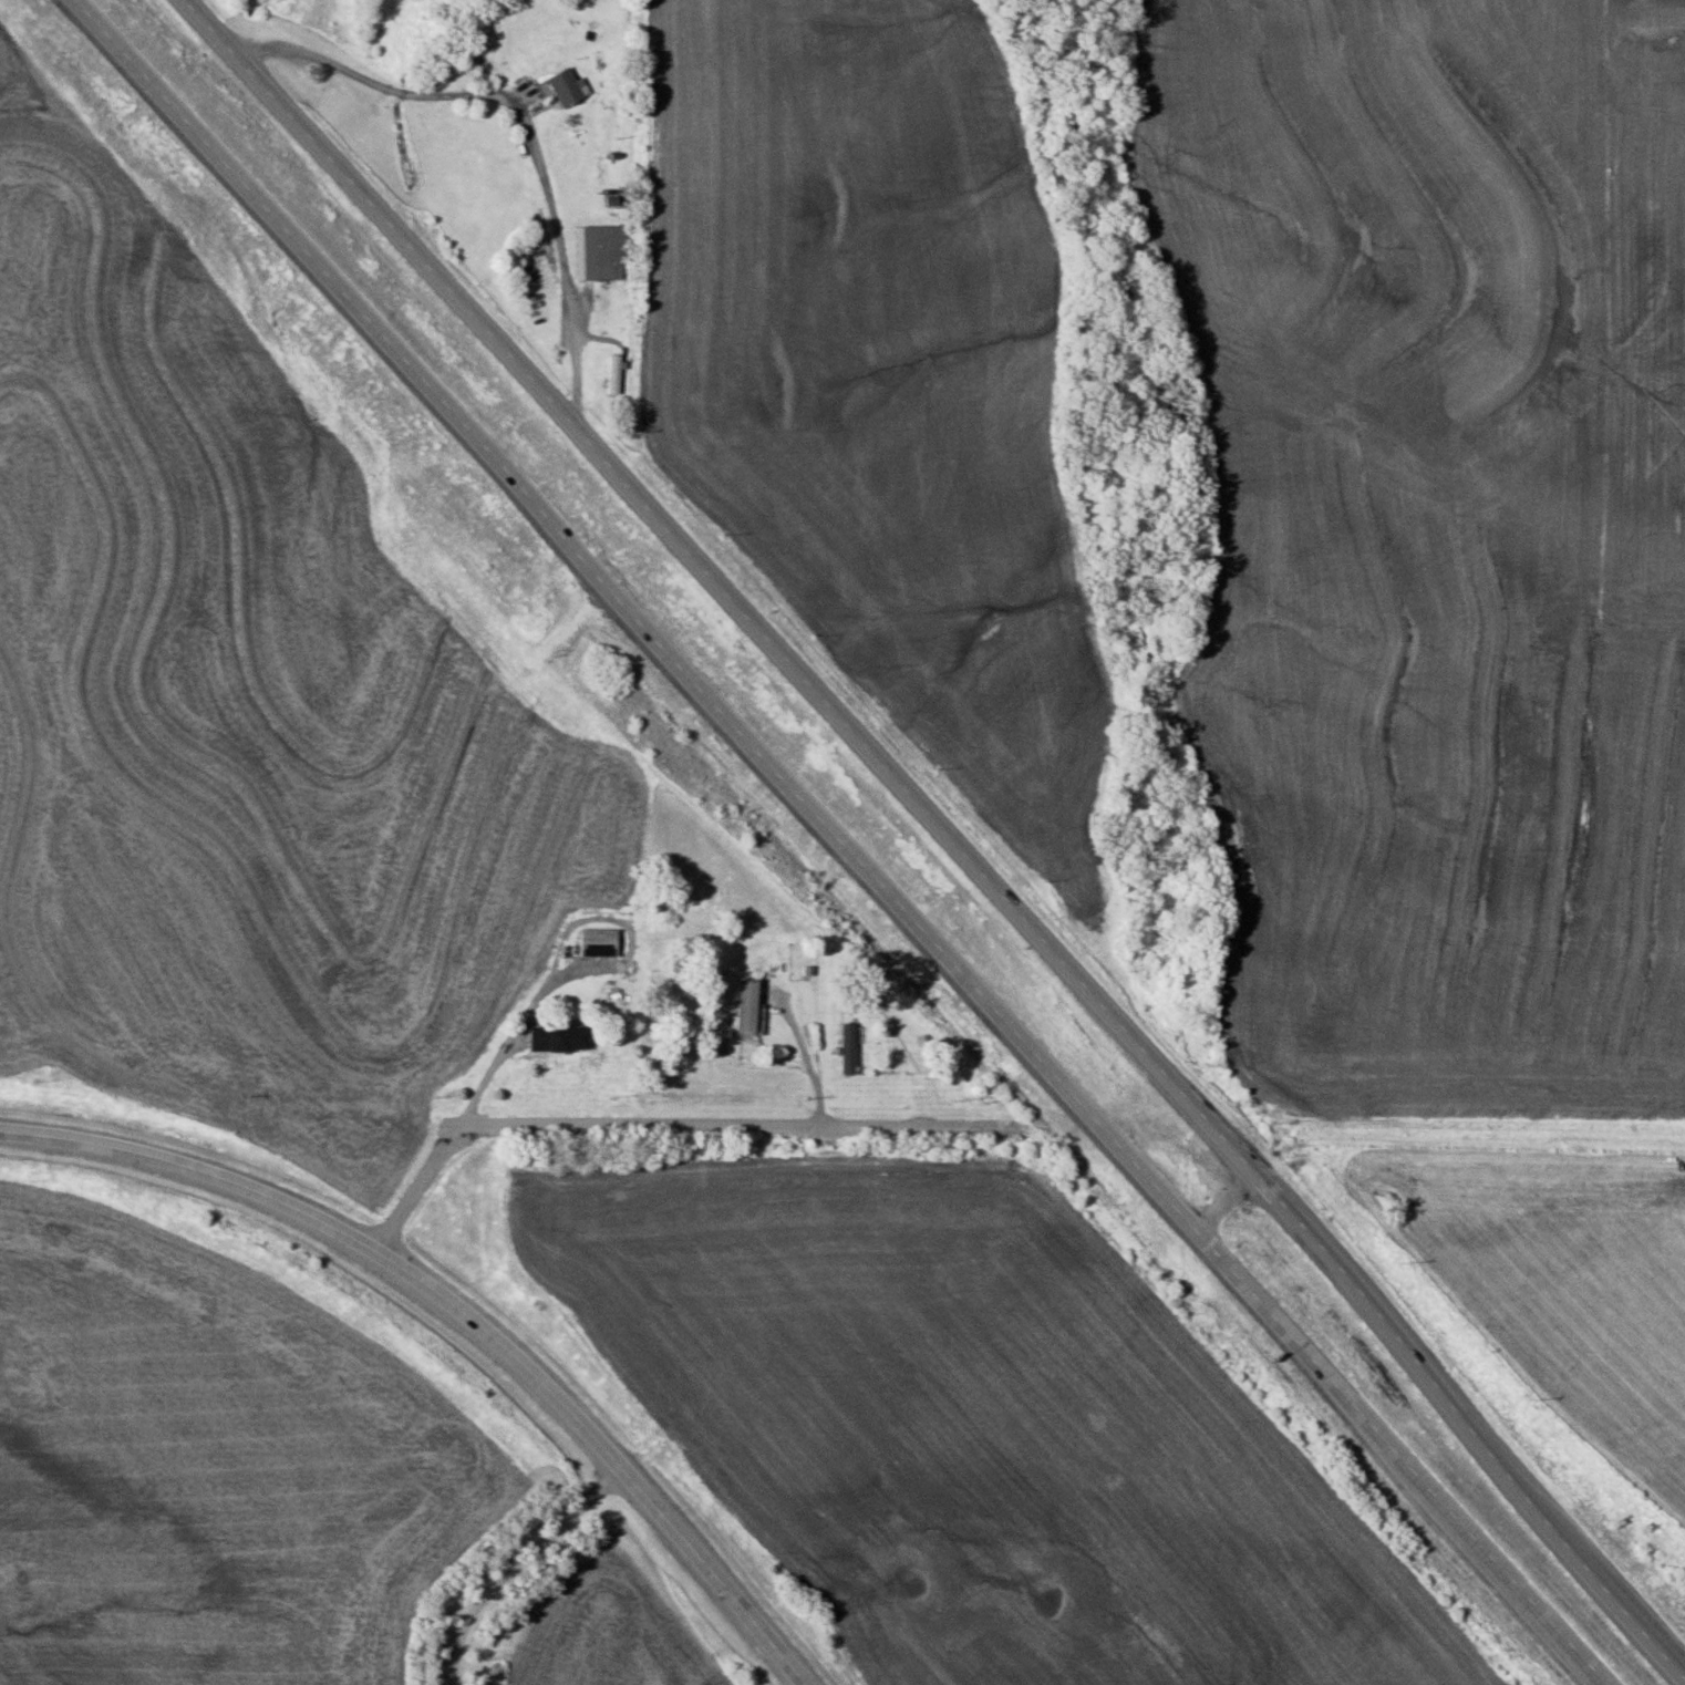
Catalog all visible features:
building: (557, 89)
road: (534, 124)
building: (595, 252)
building: (606, 374)
road: (940, 826)
road: (835, 839)
building: (617, 889)
building: (588, 942)
building: (737, 1005)
building: (549, 1038)
building: (841, 1048)
road: (682, 1125)
road: (1489, 1135)
road: (464, 1310)
road: (517, 1564)

